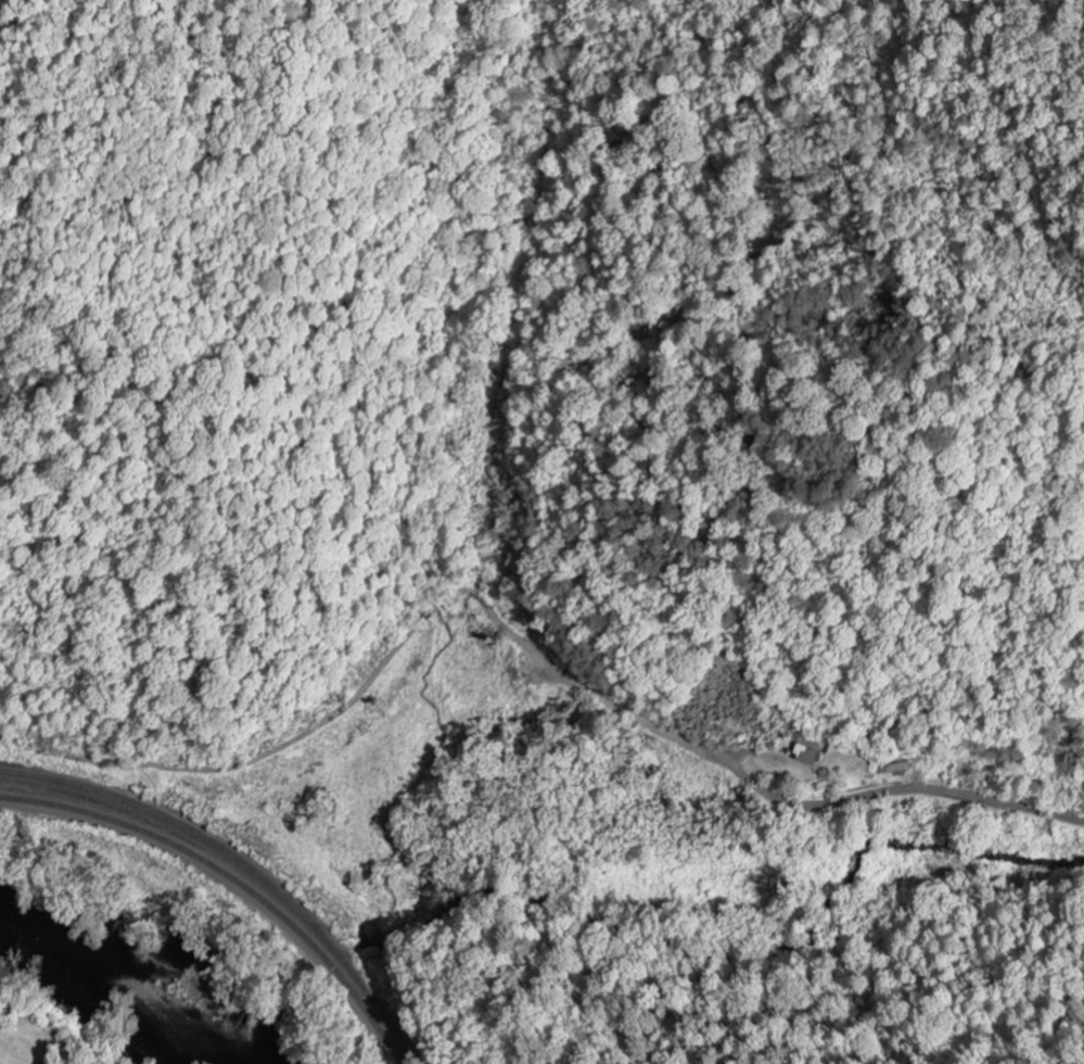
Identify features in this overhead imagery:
road: (523, 638)
building: (811, 752)
railway: (241, 871)
railway: (233, 879)
river: (122, 995)

